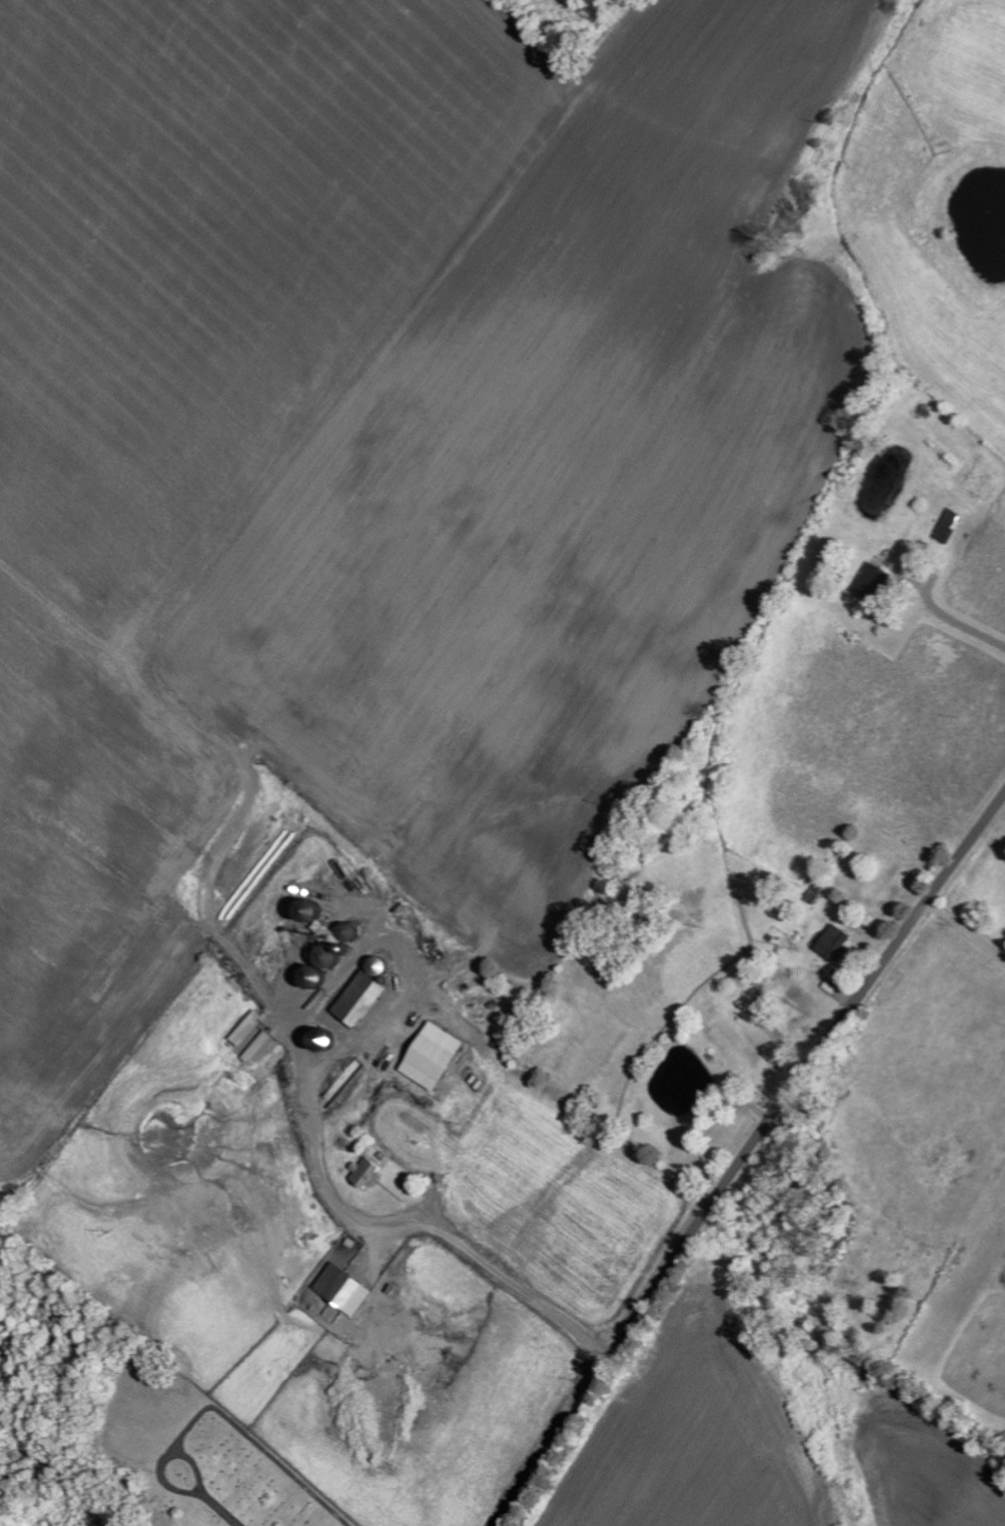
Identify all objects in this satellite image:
building: (946, 525)
building: (320, 941)
building: (837, 945)
building: (360, 993)
building: (430, 1056)
road: (744, 1151)
building: (363, 1174)
building: (341, 1290)
park: (188, 1455)

